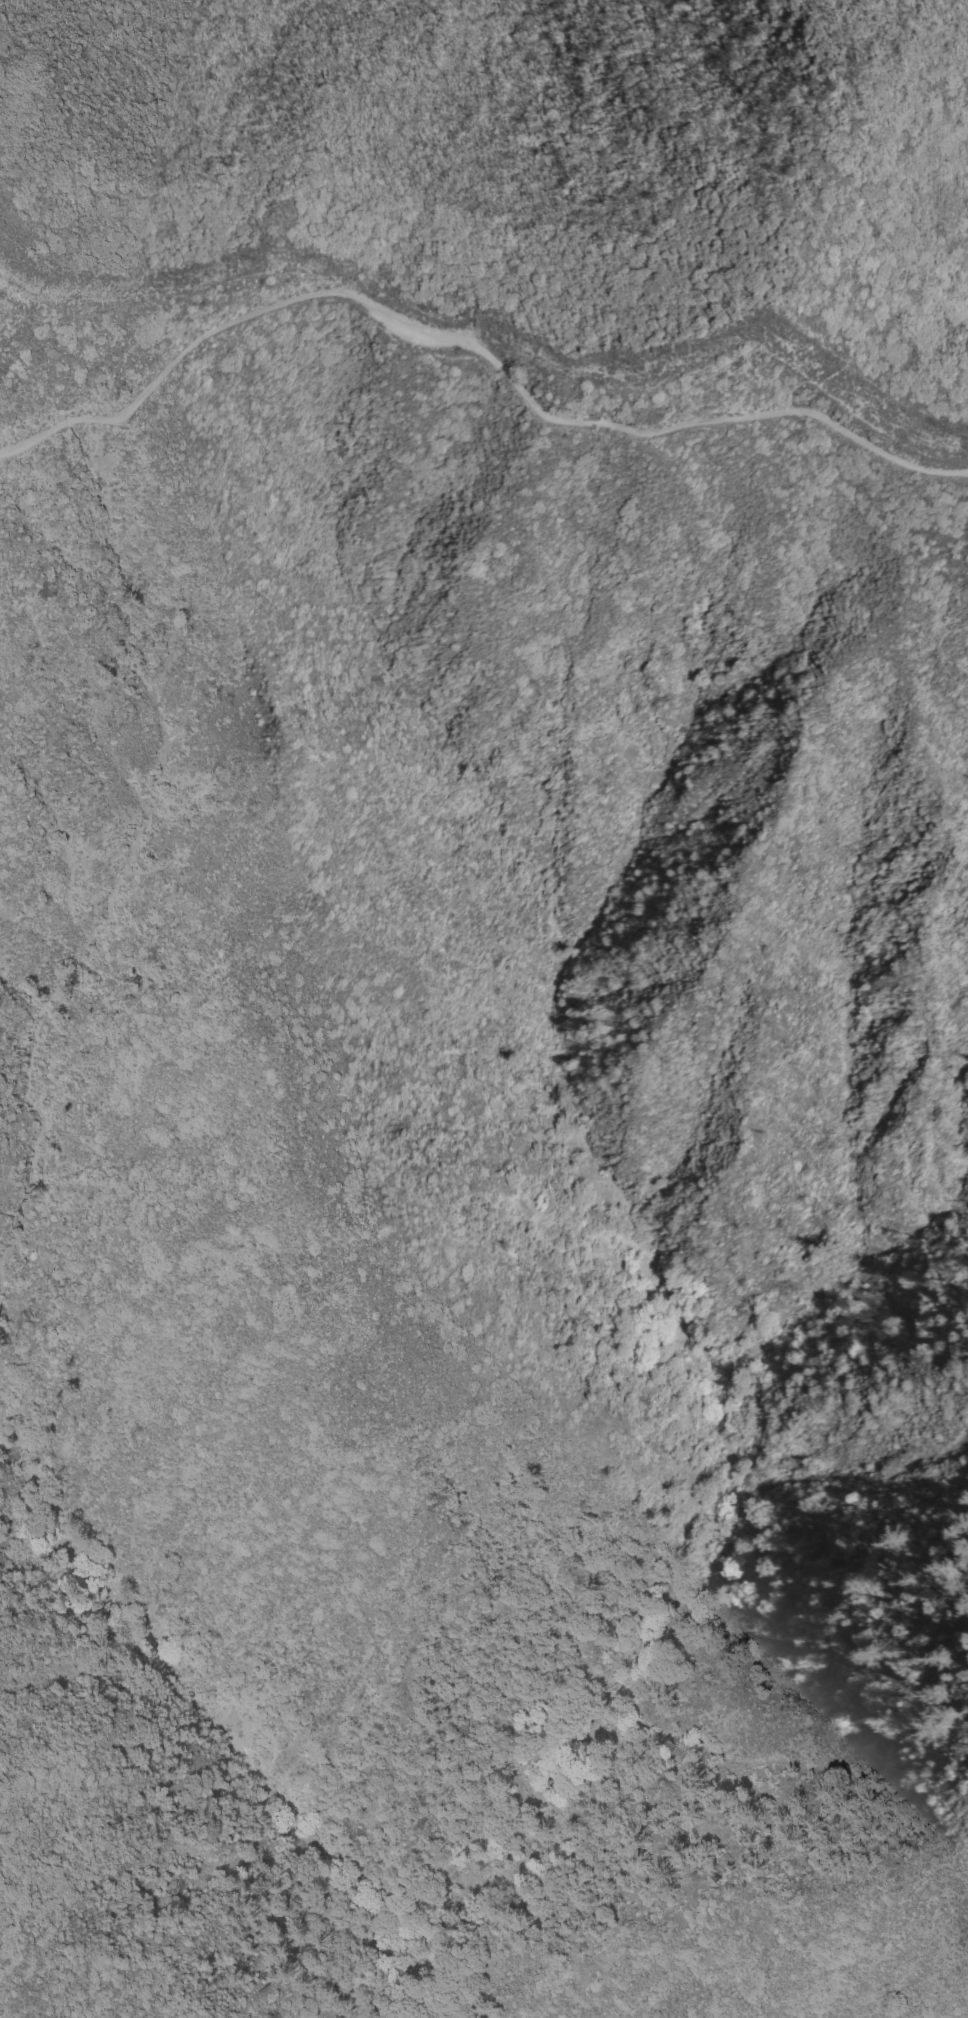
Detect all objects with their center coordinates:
road: (157, 362)
road: (630, 425)

